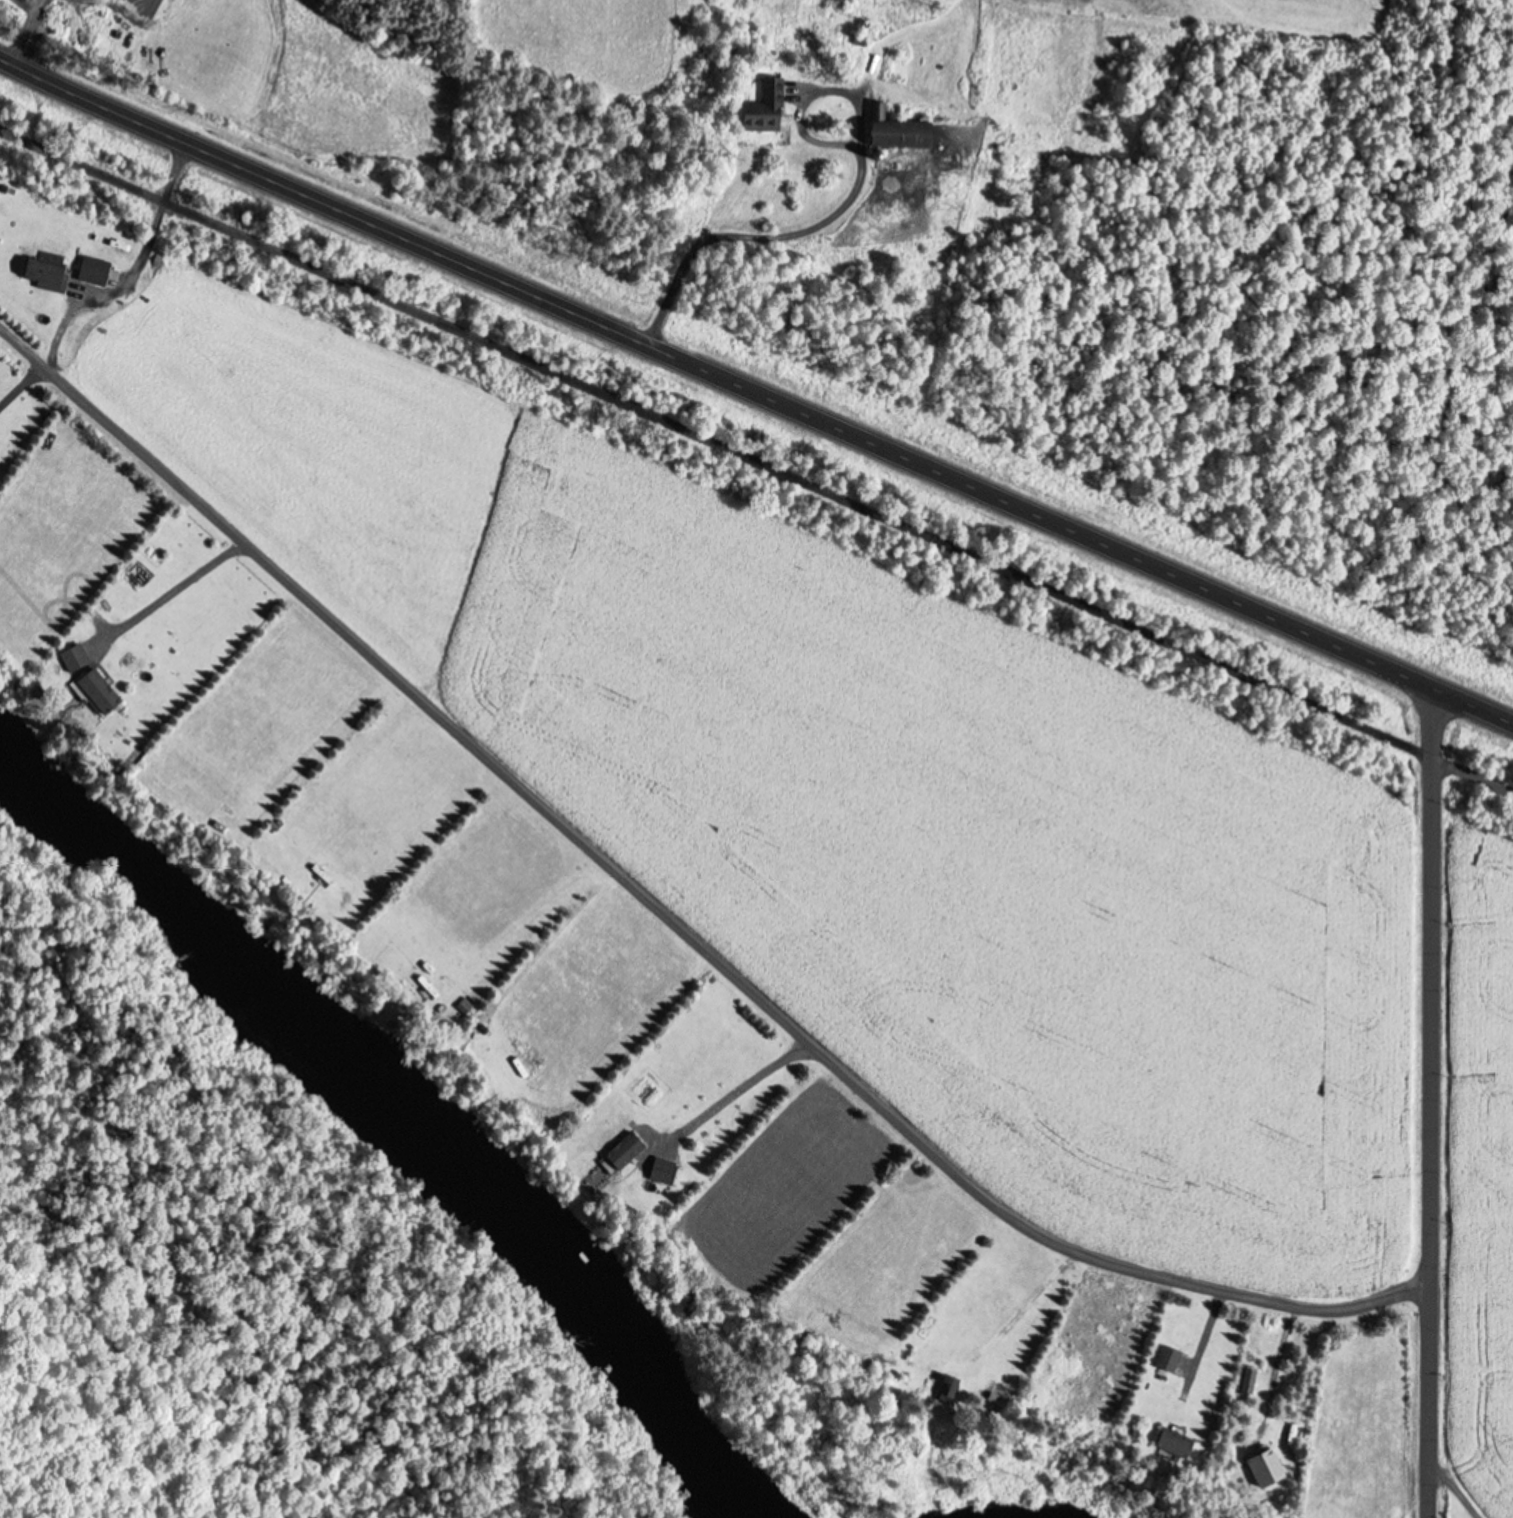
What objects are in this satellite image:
building: (764, 105)
building: (899, 130)
building: (93, 268)
building: (45, 269)
road: (756, 389)
road: (757, 458)
building: (14, 489)
building: (73, 655)
building: (97, 688)
road: (693, 940)
road: (1431, 1101)
river: (393, 1131)
building: (623, 1149)
building: (661, 1168)
building: (1166, 1357)
building: (1247, 1381)
building: (946, 1388)
building: (1173, 1441)
building: (1263, 1467)
road: (1458, 1490)

